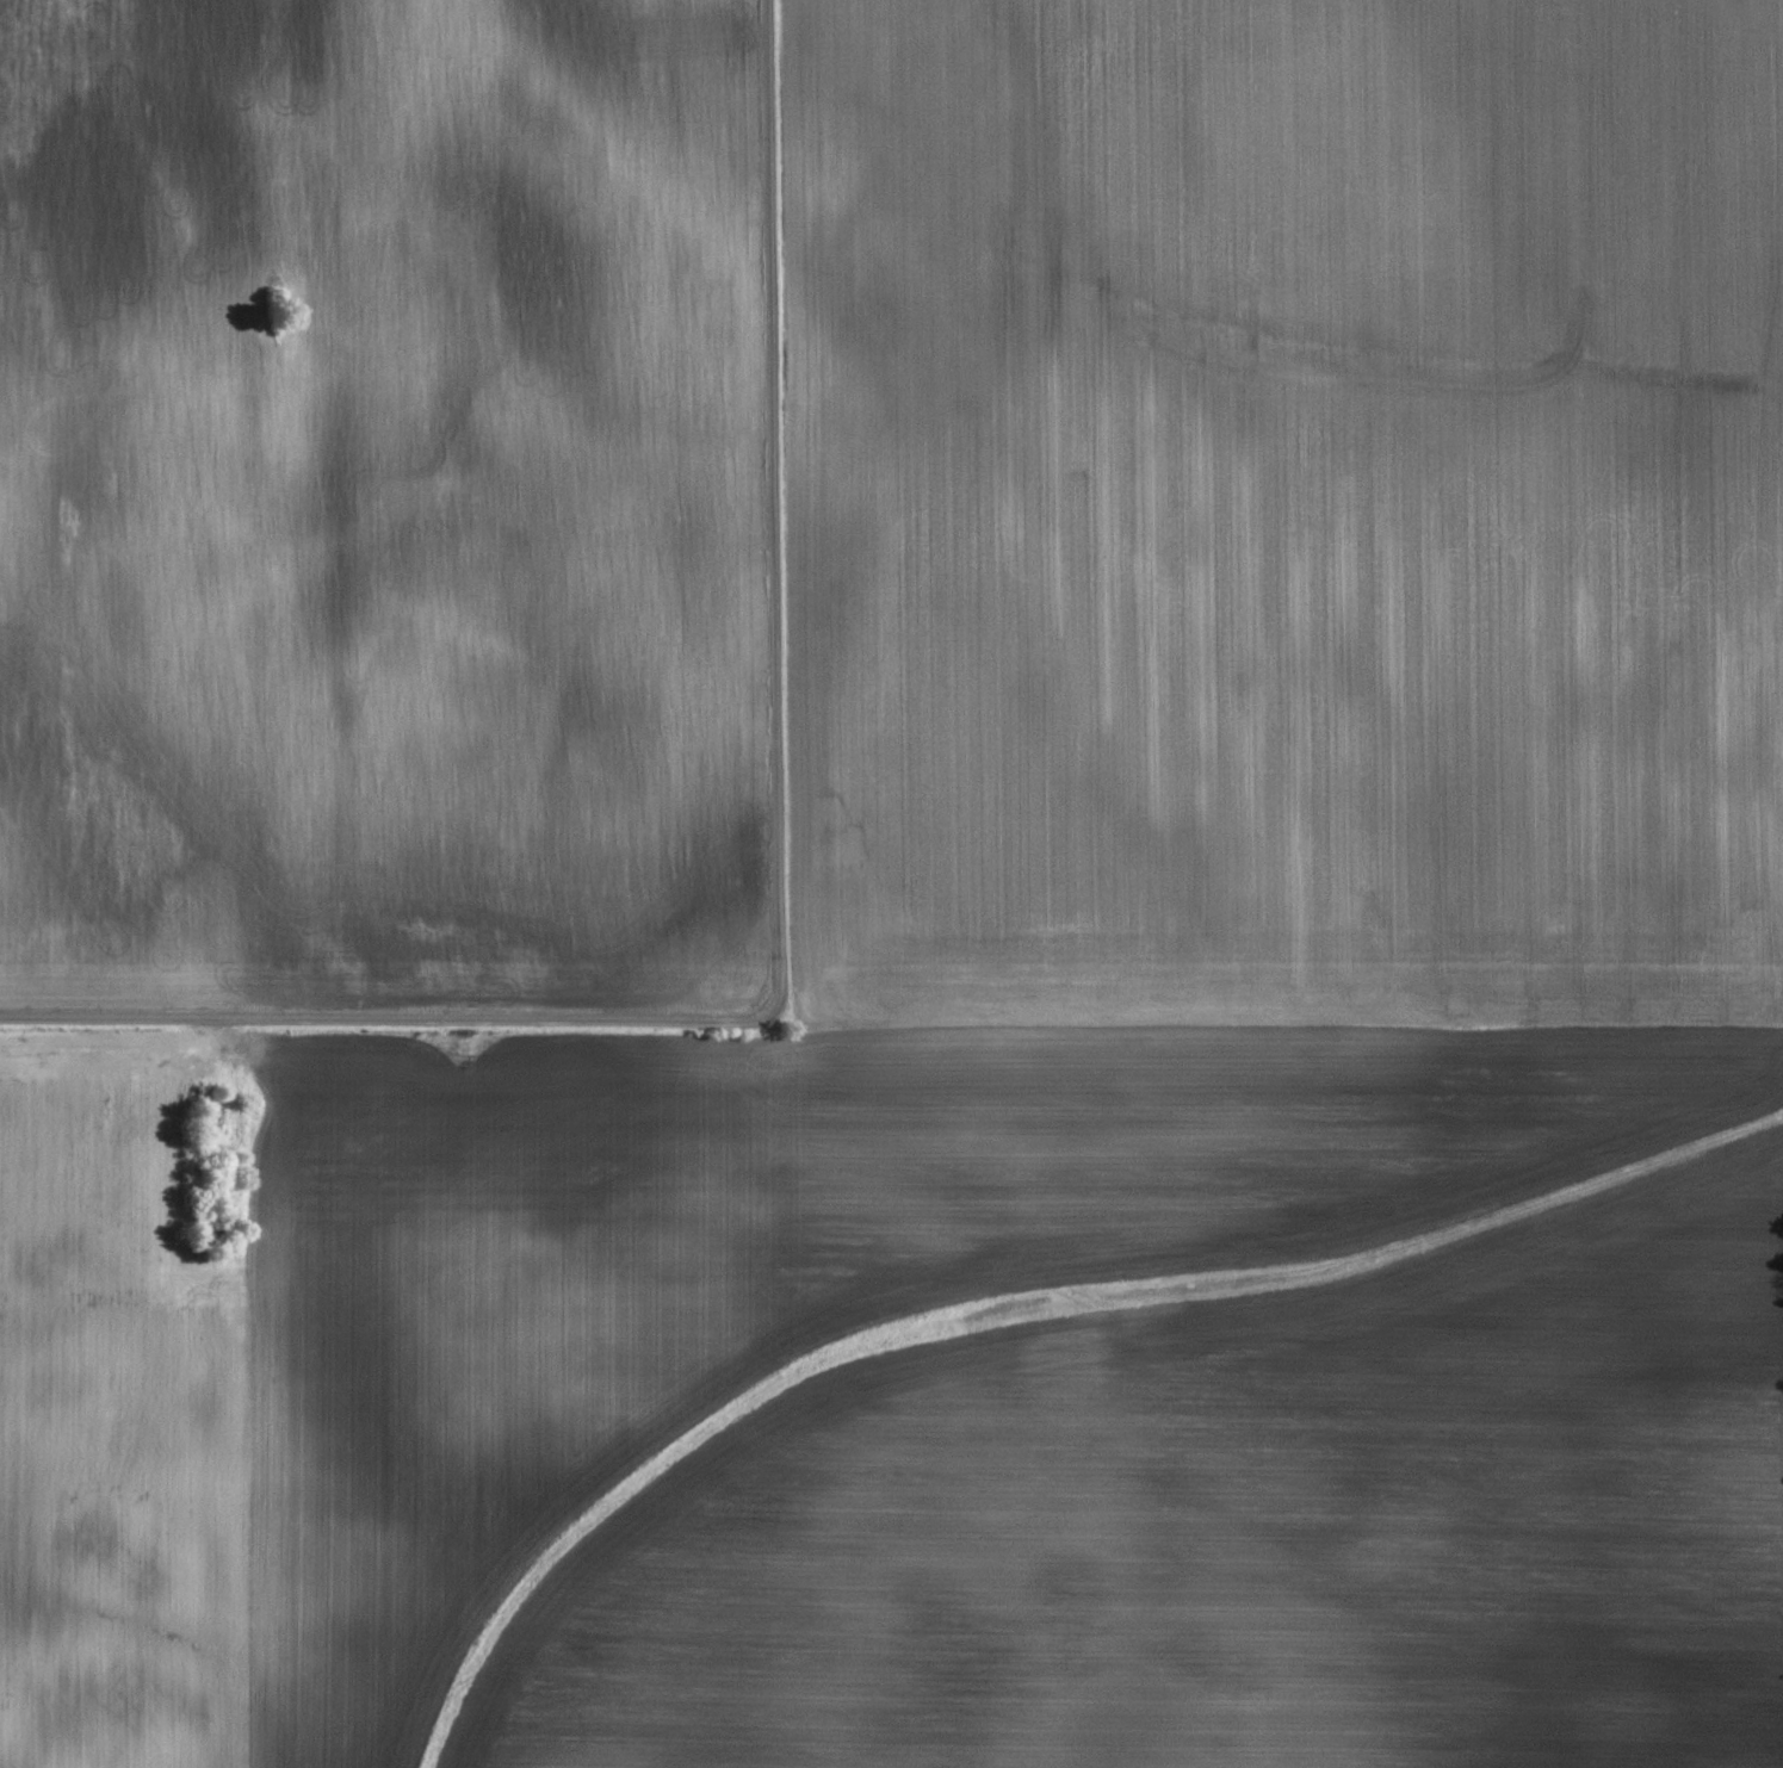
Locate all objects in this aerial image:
road: (768, 505)
road: (384, 1021)

